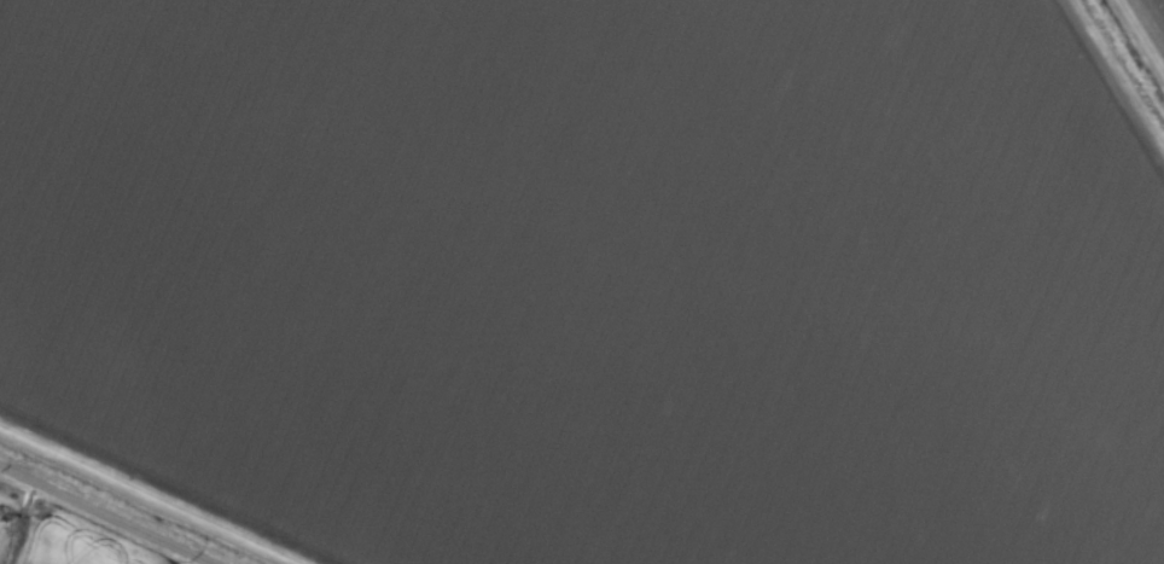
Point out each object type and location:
crop: (582, 281)

